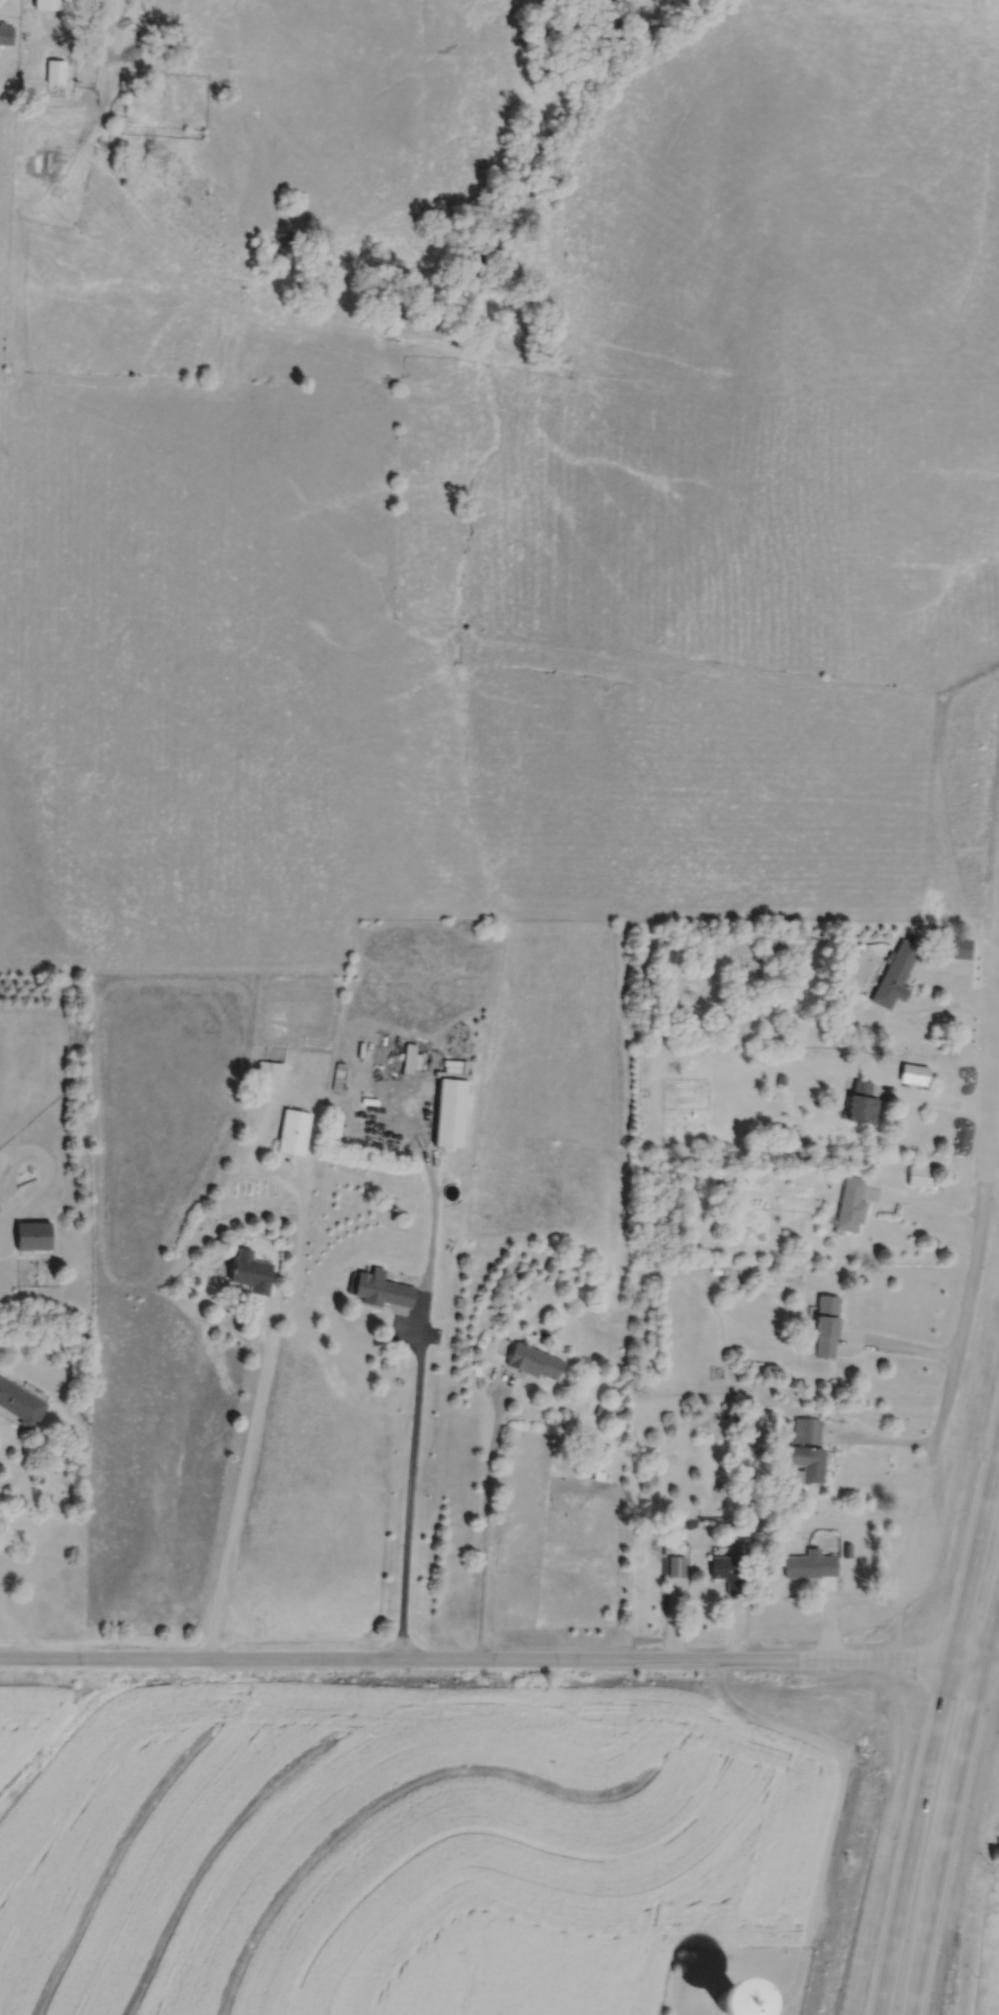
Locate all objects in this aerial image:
building: (47, 3)
building: (7, 35)
building: (960, 949)
building: (898, 976)
building: (273, 1069)
building: (918, 1076)
building: (865, 1104)
road: (934, 1106)
building: (453, 1113)
building: (296, 1133)
building: (922, 1177)
building: (853, 1207)
building: (36, 1237)
building: (254, 1272)
road: (975, 1290)
building: (386, 1291)
building: (829, 1328)
road: (900, 1353)
building: (537, 1364)
building: (21, 1404)
building: (809, 1432)
road: (883, 1444)
building: (810, 1464)
road: (237, 1499)
road: (404, 1504)
road: (483, 1521)
building: (813, 1567)
building: (679, 1568)
building: (731, 1574)
road: (15, 1641)
road: (991, 1662)
road: (491, 1664)
road: (937, 1726)
road: (952, 1799)
road: (843, 1806)
water tower: (764, 1990)
building: (742, 2001)

